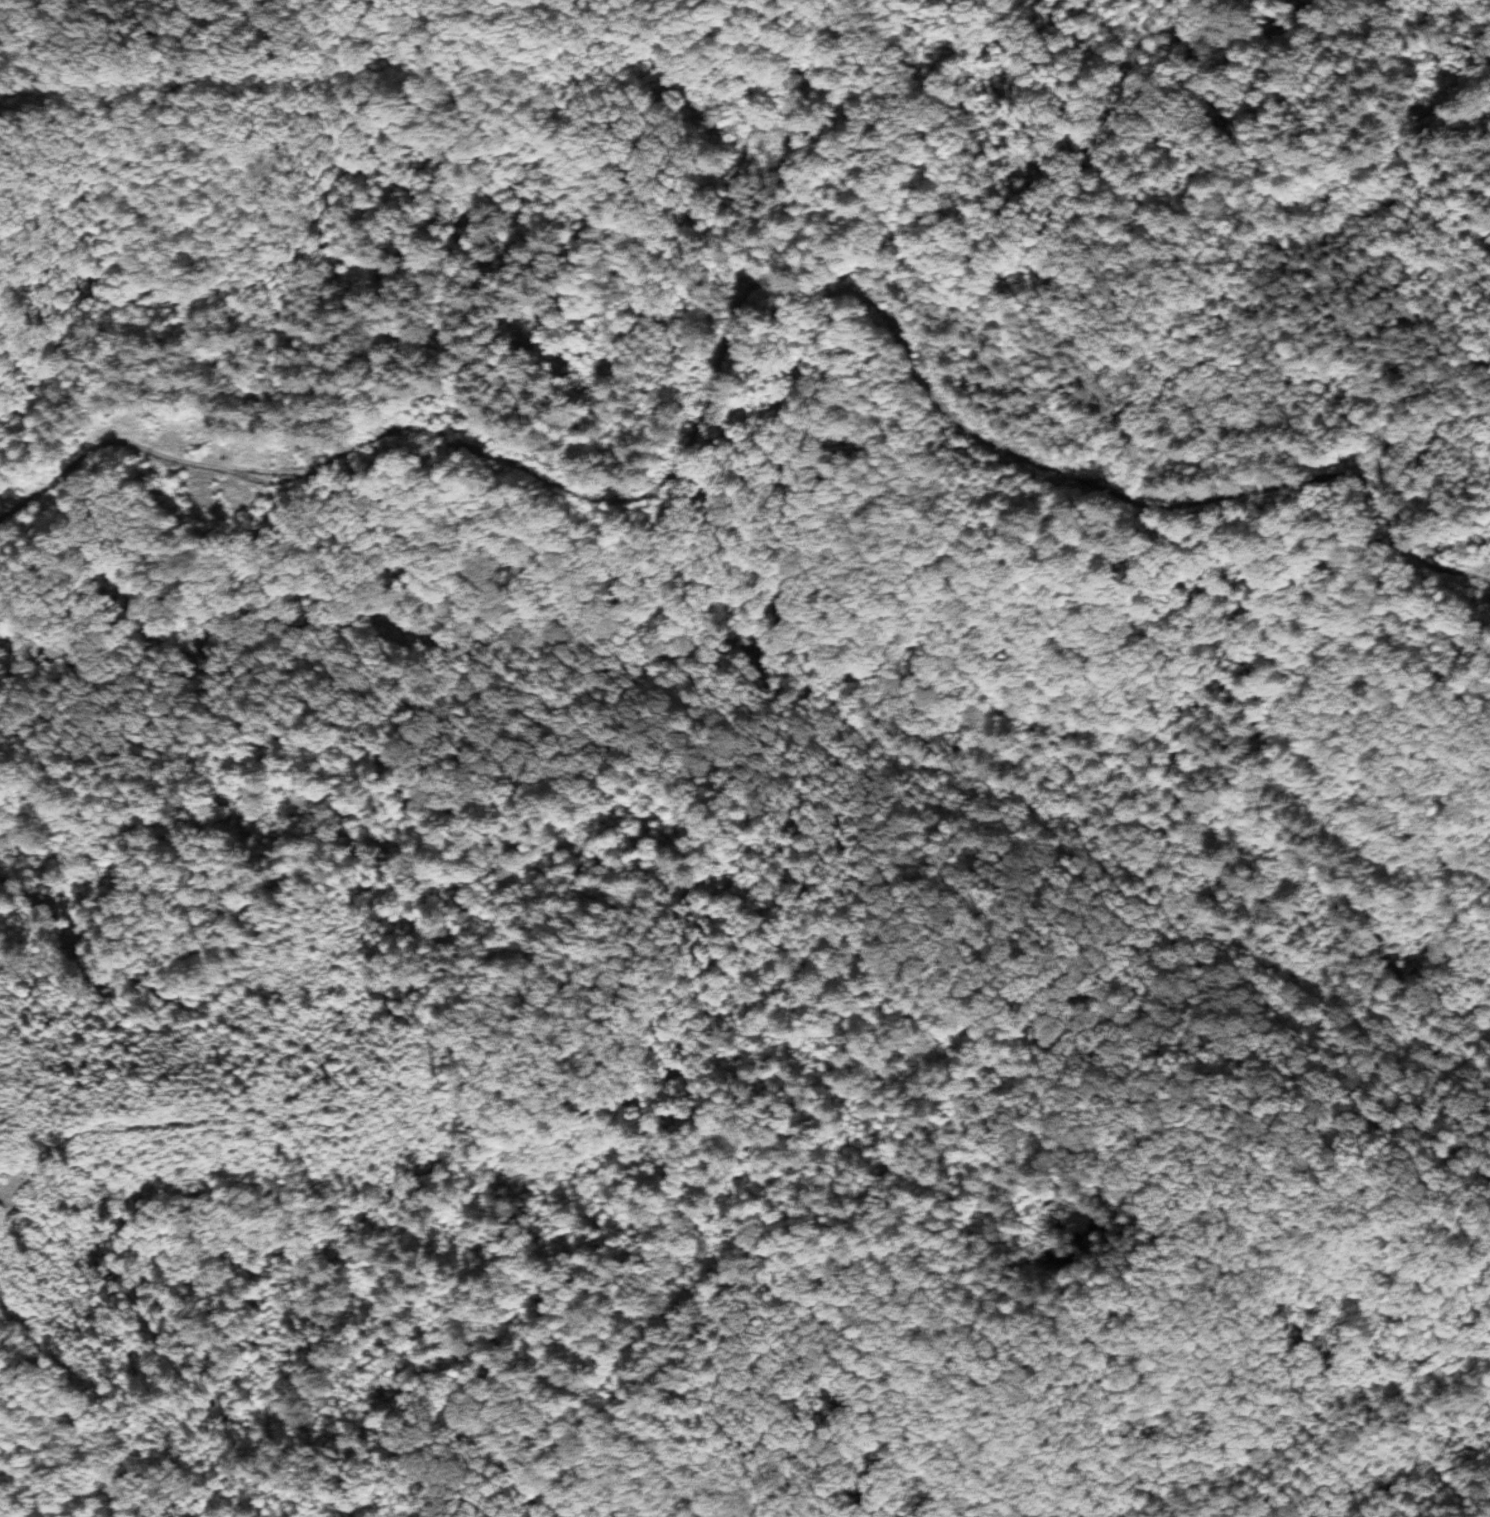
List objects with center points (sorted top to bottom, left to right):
road: (1056, 252)
road: (61, 1447)

